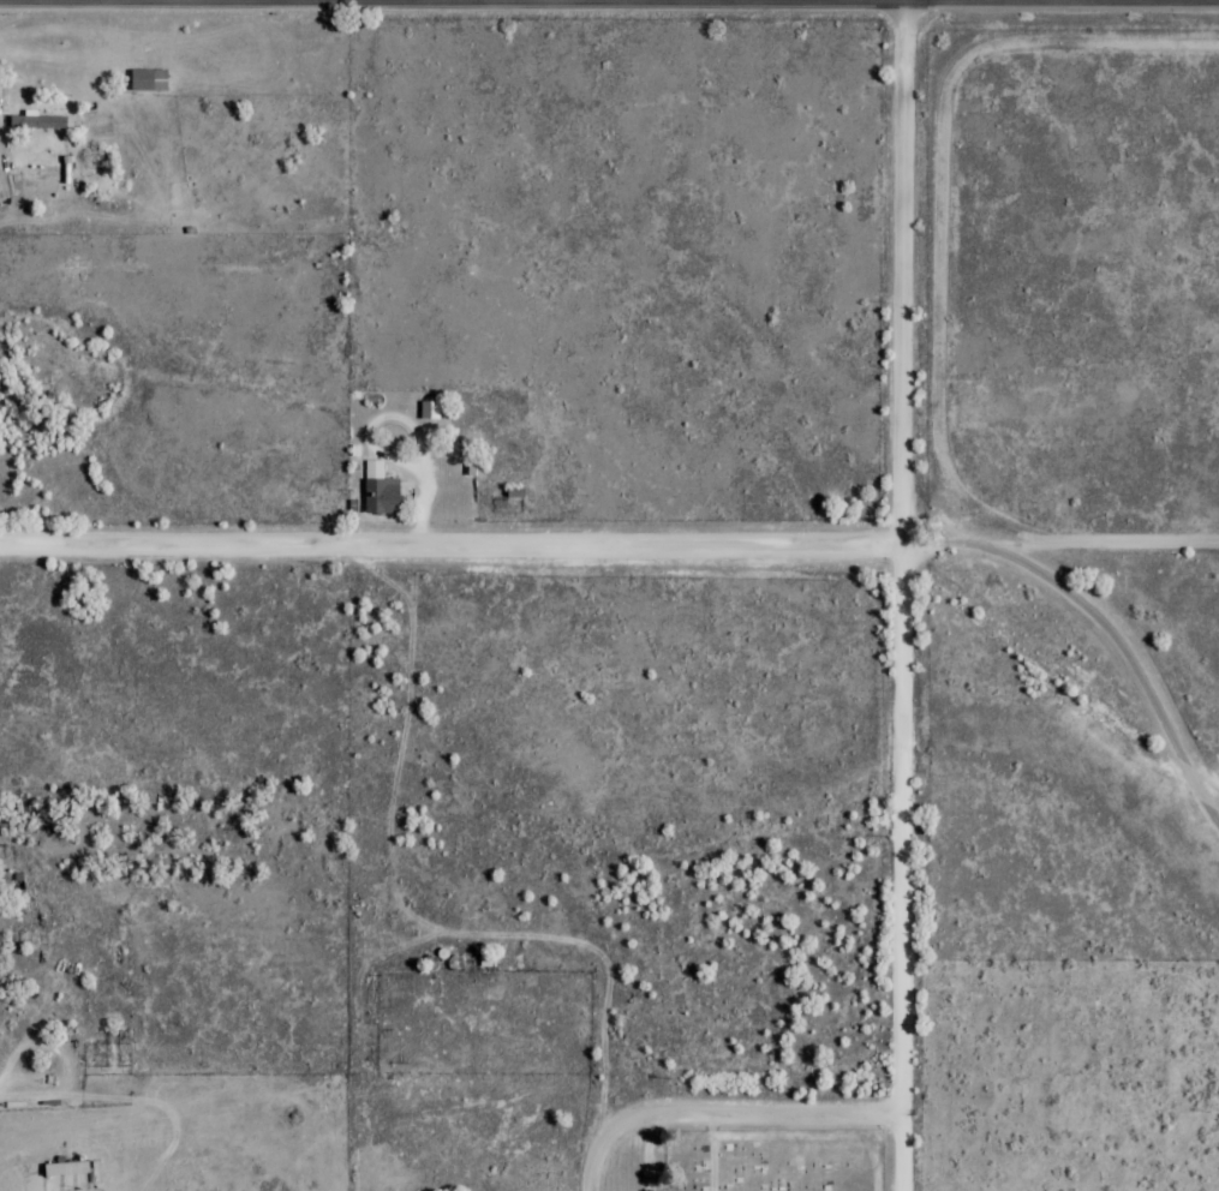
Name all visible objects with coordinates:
building: (38, 121)
building: (430, 409)
building: (476, 468)
building: (380, 490)
road: (452, 546)
road: (904, 594)
road: (1104, 627)
building: (488, 959)
building: (456, 963)
road: (728, 1112)
road: (789, 1133)
road: (653, 1151)
road: (715, 1151)
park: (772, 1159)
building: (67, 1168)

